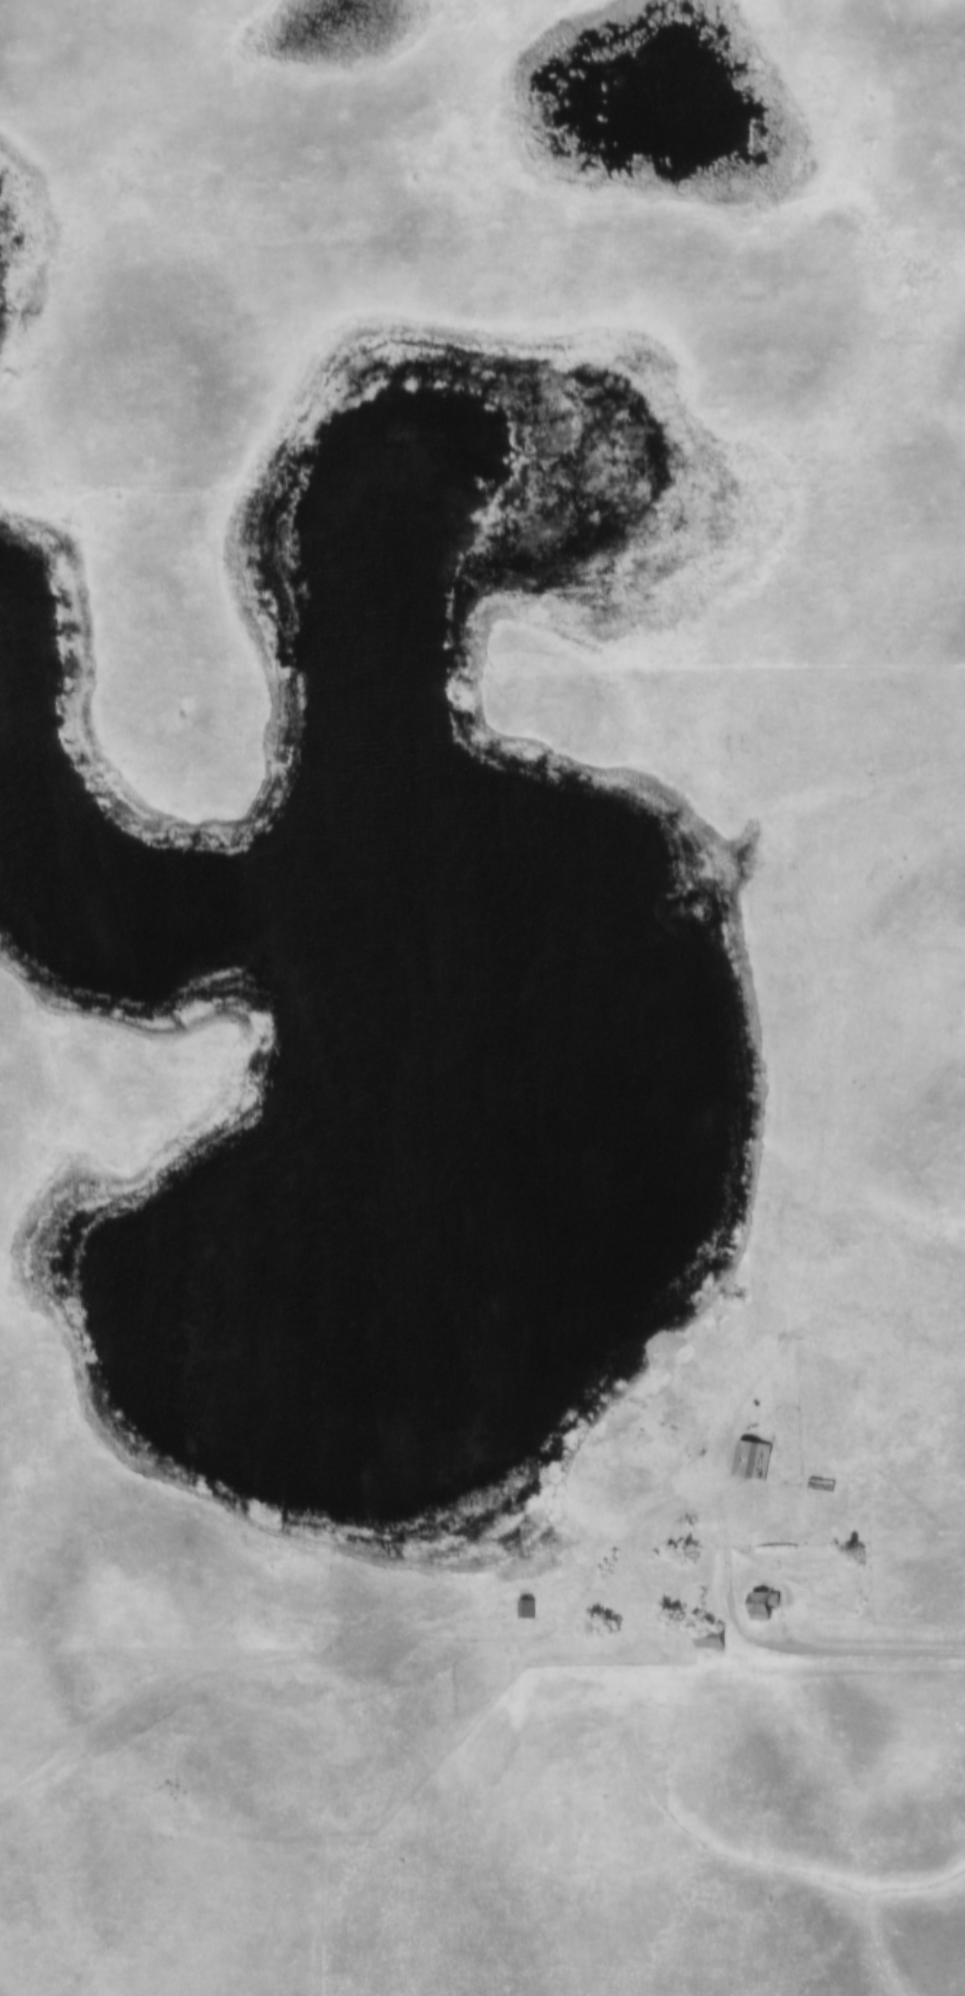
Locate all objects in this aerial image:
building: (690, 1375)
building: (672, 1405)
building: (753, 1461)
road: (750, 1578)
building: (763, 1604)
building: (528, 1610)
building: (710, 1638)
road: (879, 1656)

